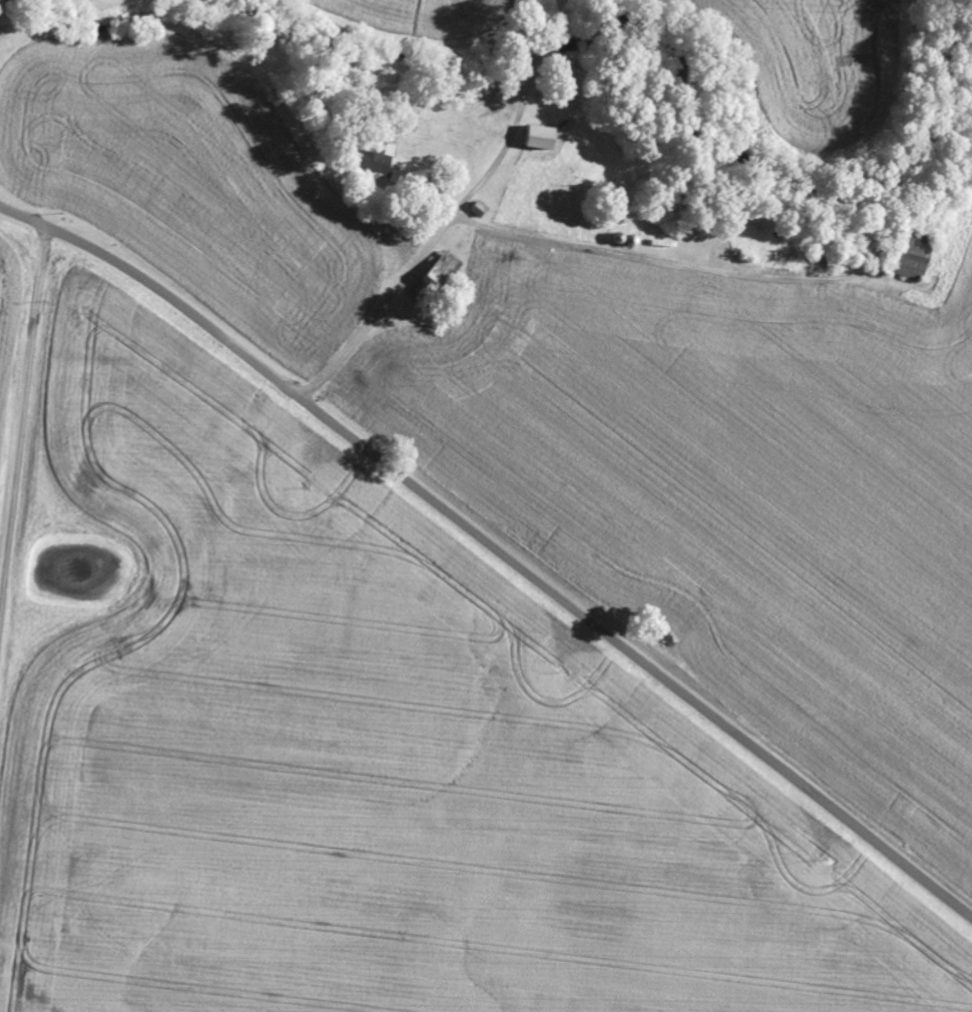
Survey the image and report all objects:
building: (543, 137)
building: (378, 155)
building: (915, 263)
building: (443, 273)
road: (22, 431)
road: (494, 550)

